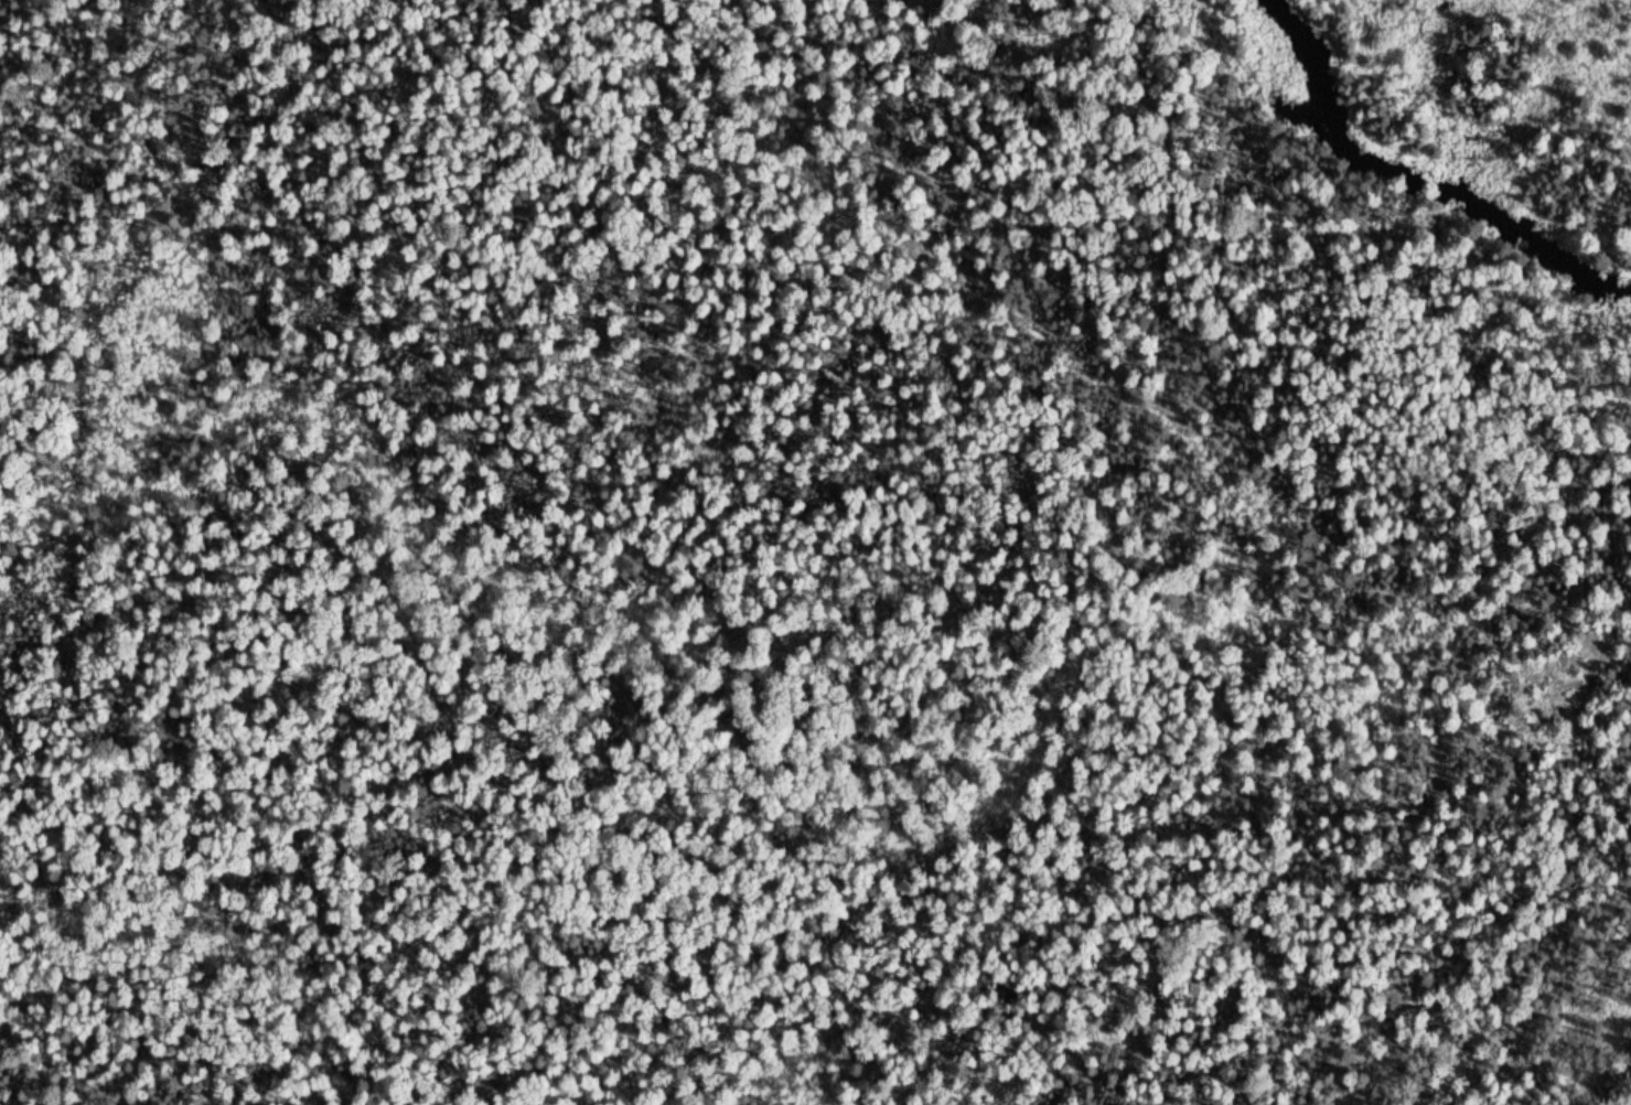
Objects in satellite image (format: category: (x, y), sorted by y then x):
river: (1419, 174)

